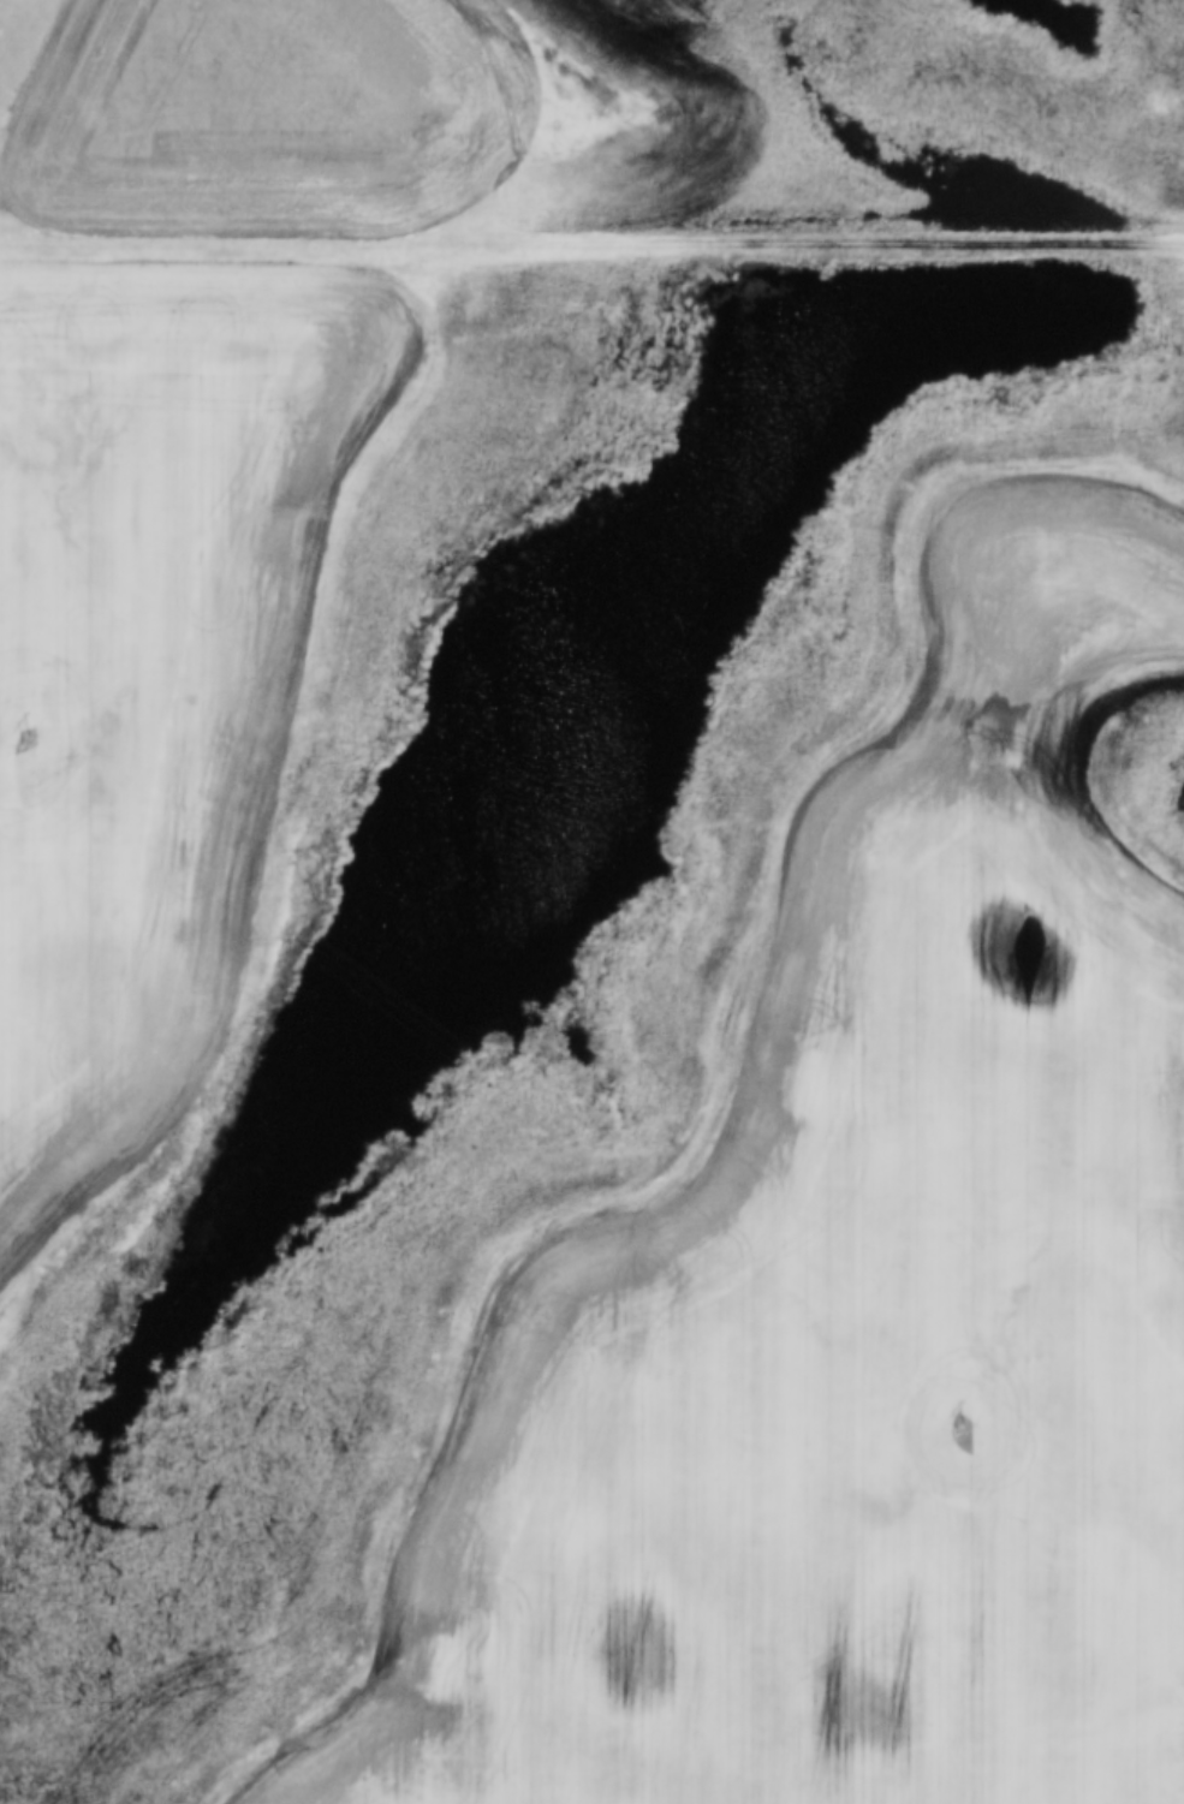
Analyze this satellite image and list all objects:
road: (591, 239)

